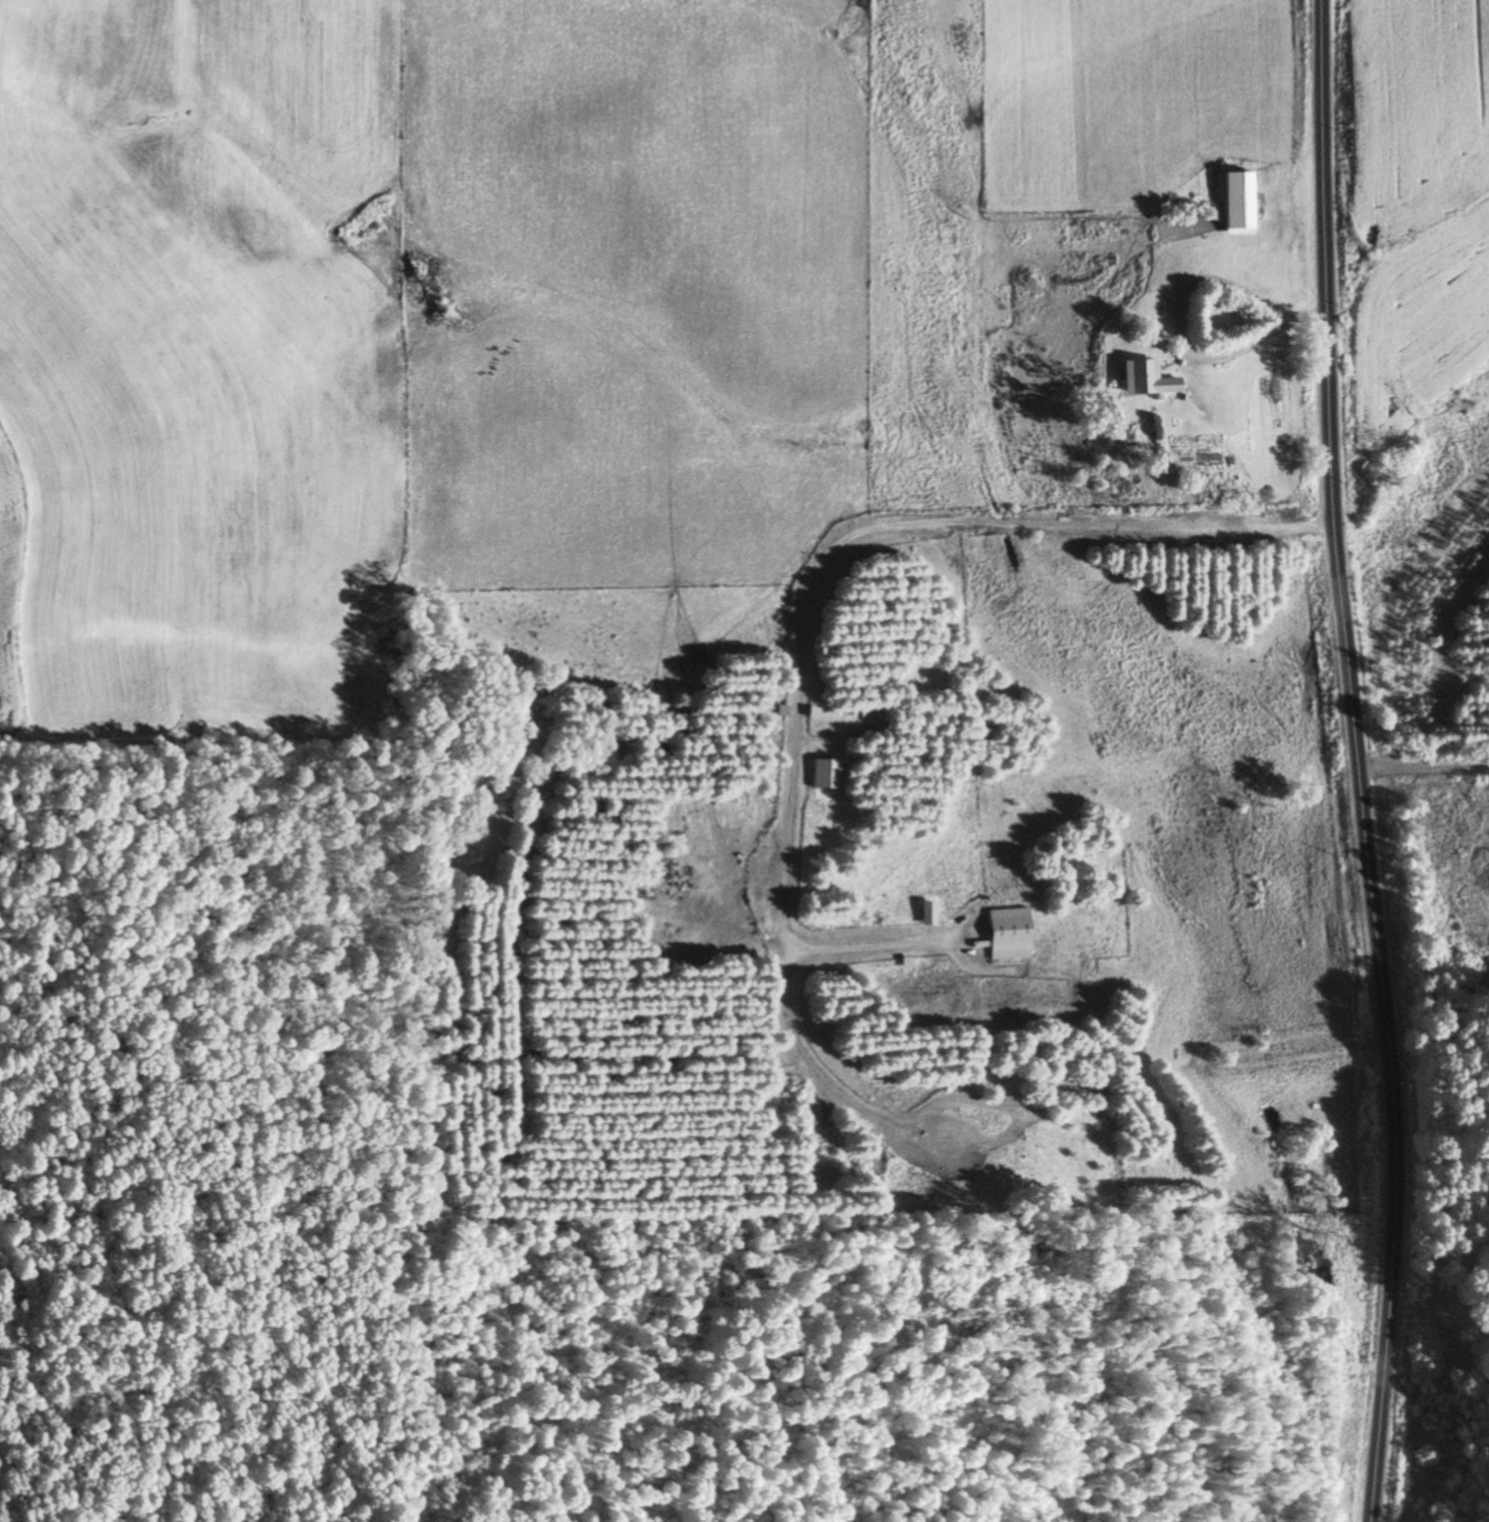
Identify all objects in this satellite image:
building: (1138, 376)
road: (1353, 761)
building: (821, 773)
building: (923, 914)
building: (1003, 934)

